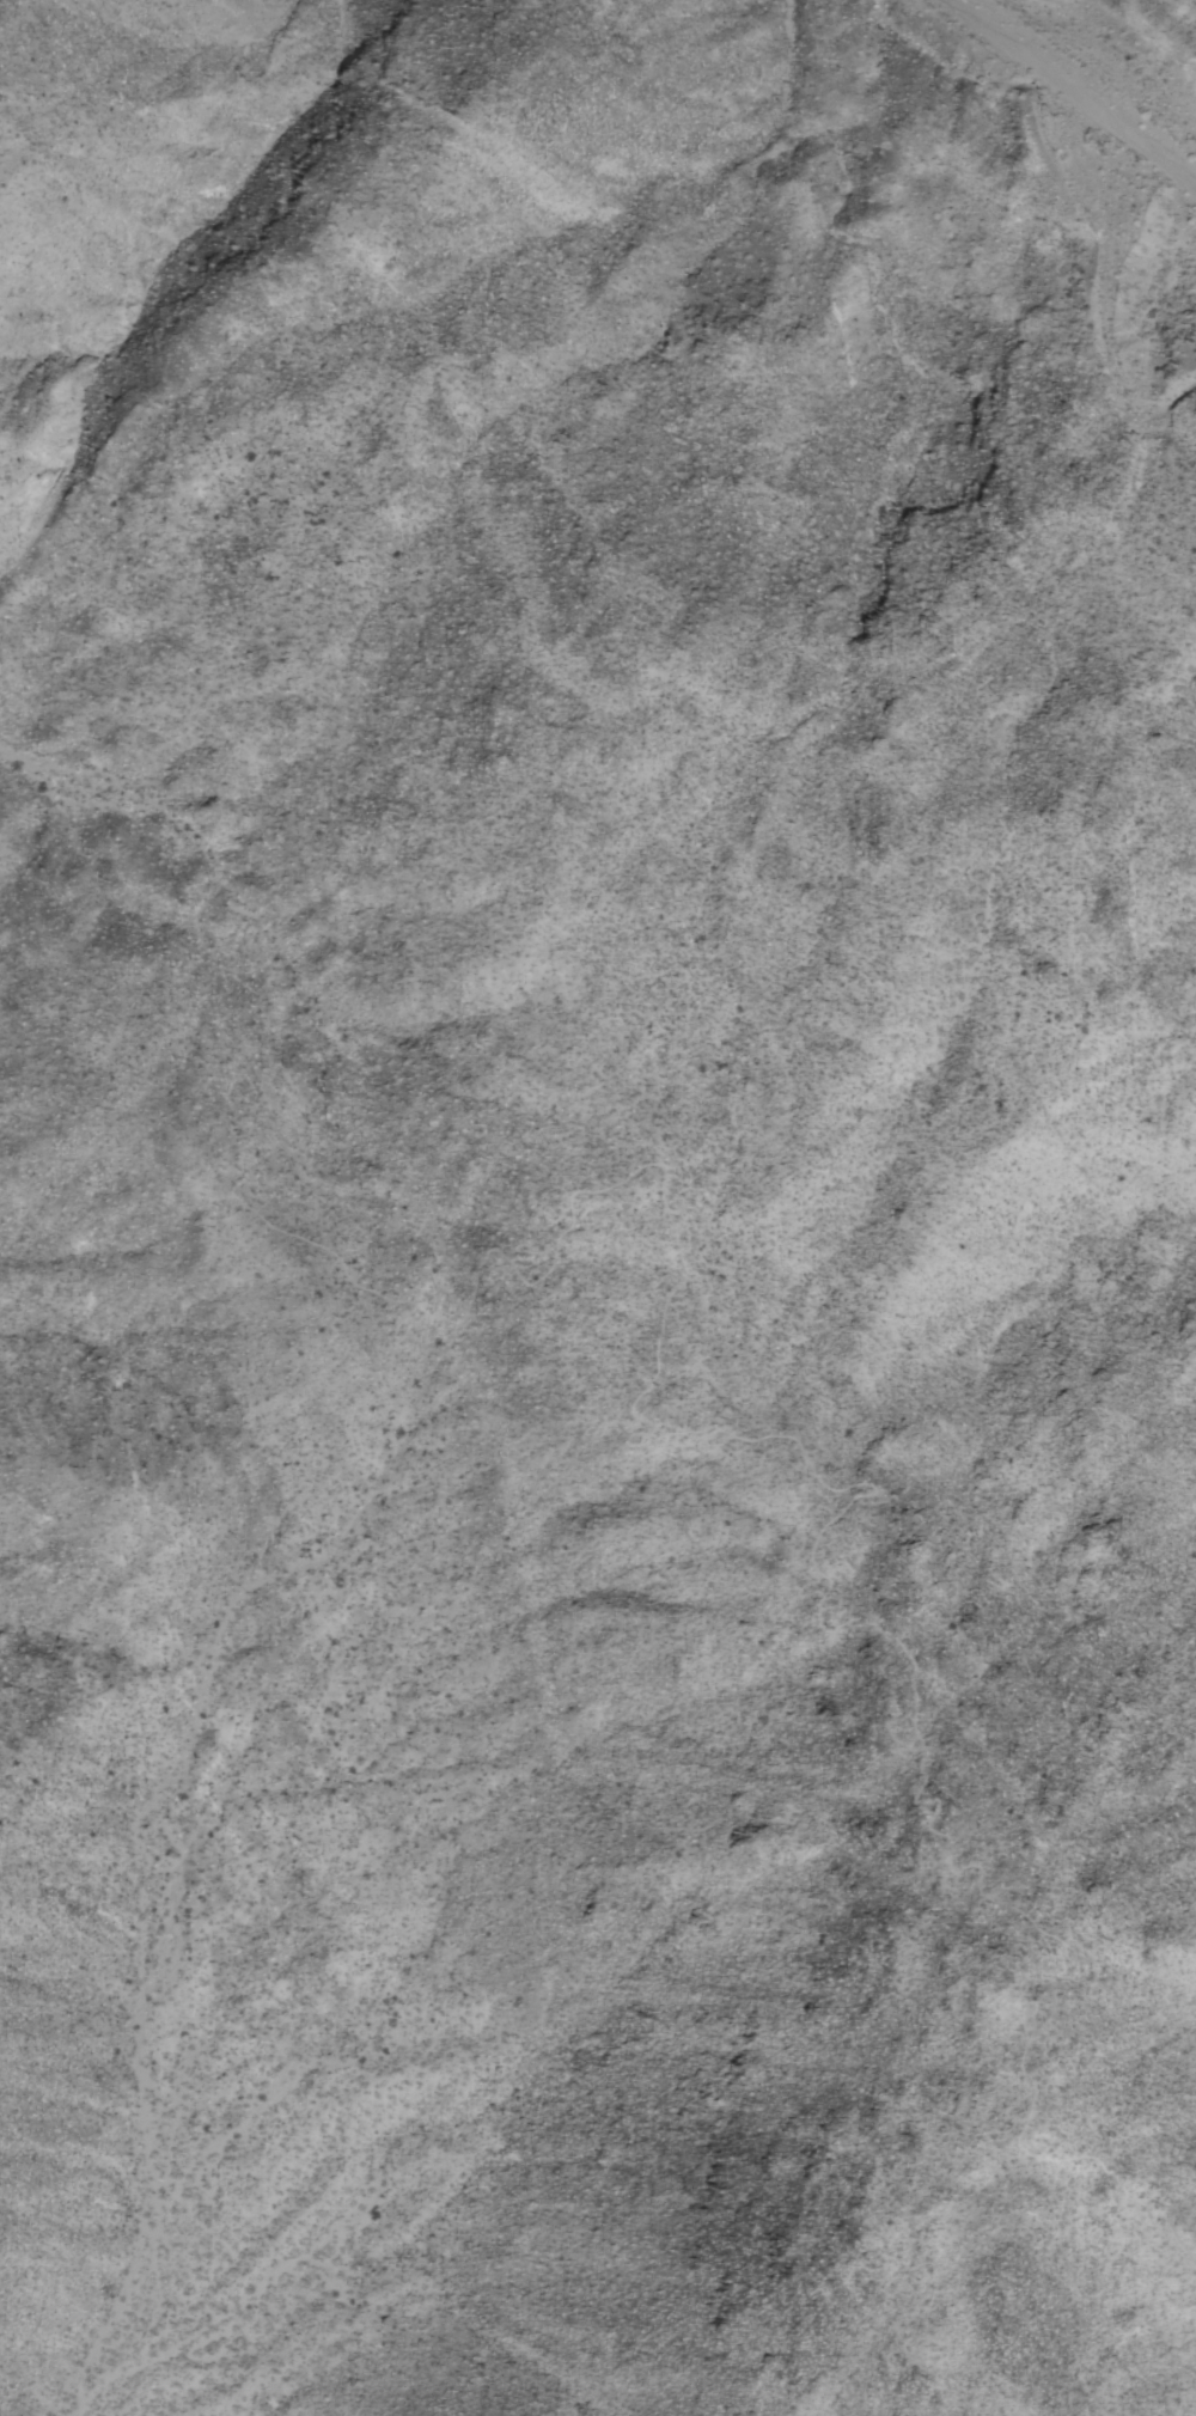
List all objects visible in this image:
road: (1082, 89)
road: (786, 1439)

